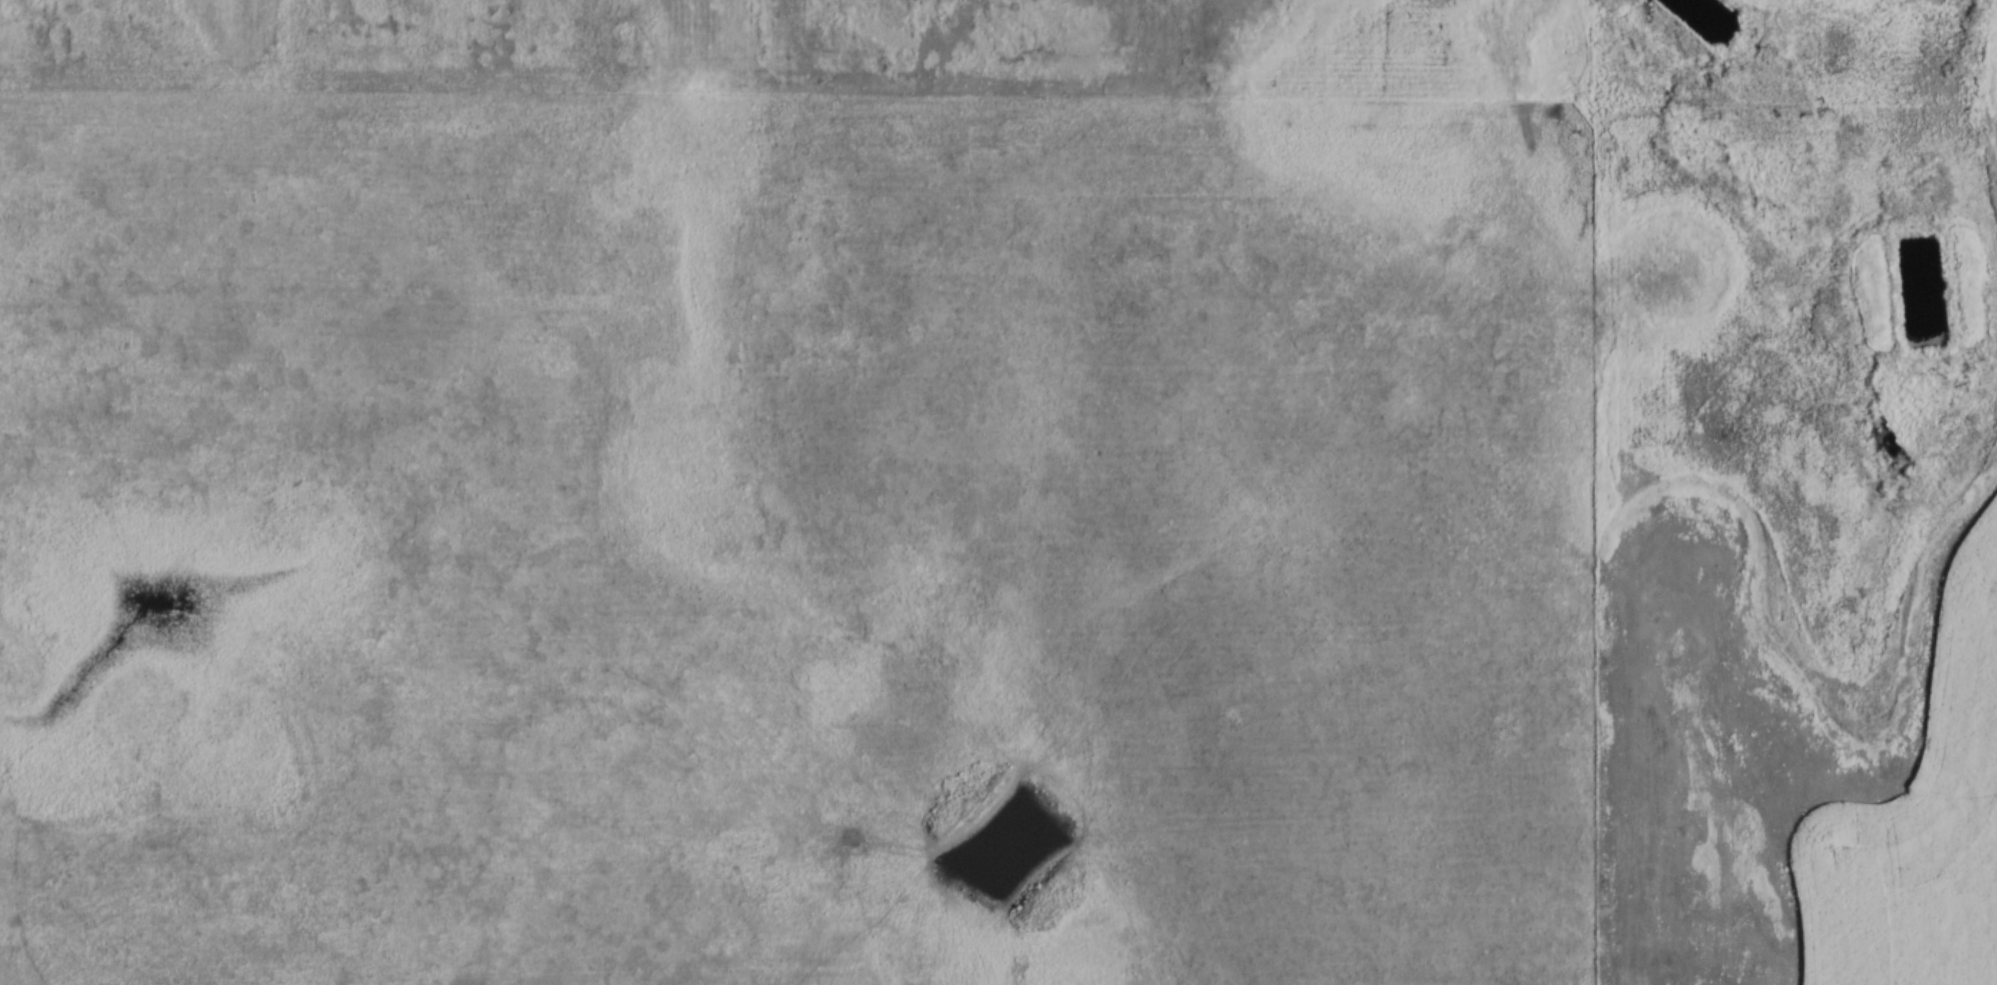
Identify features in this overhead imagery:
road: (998, 126)

